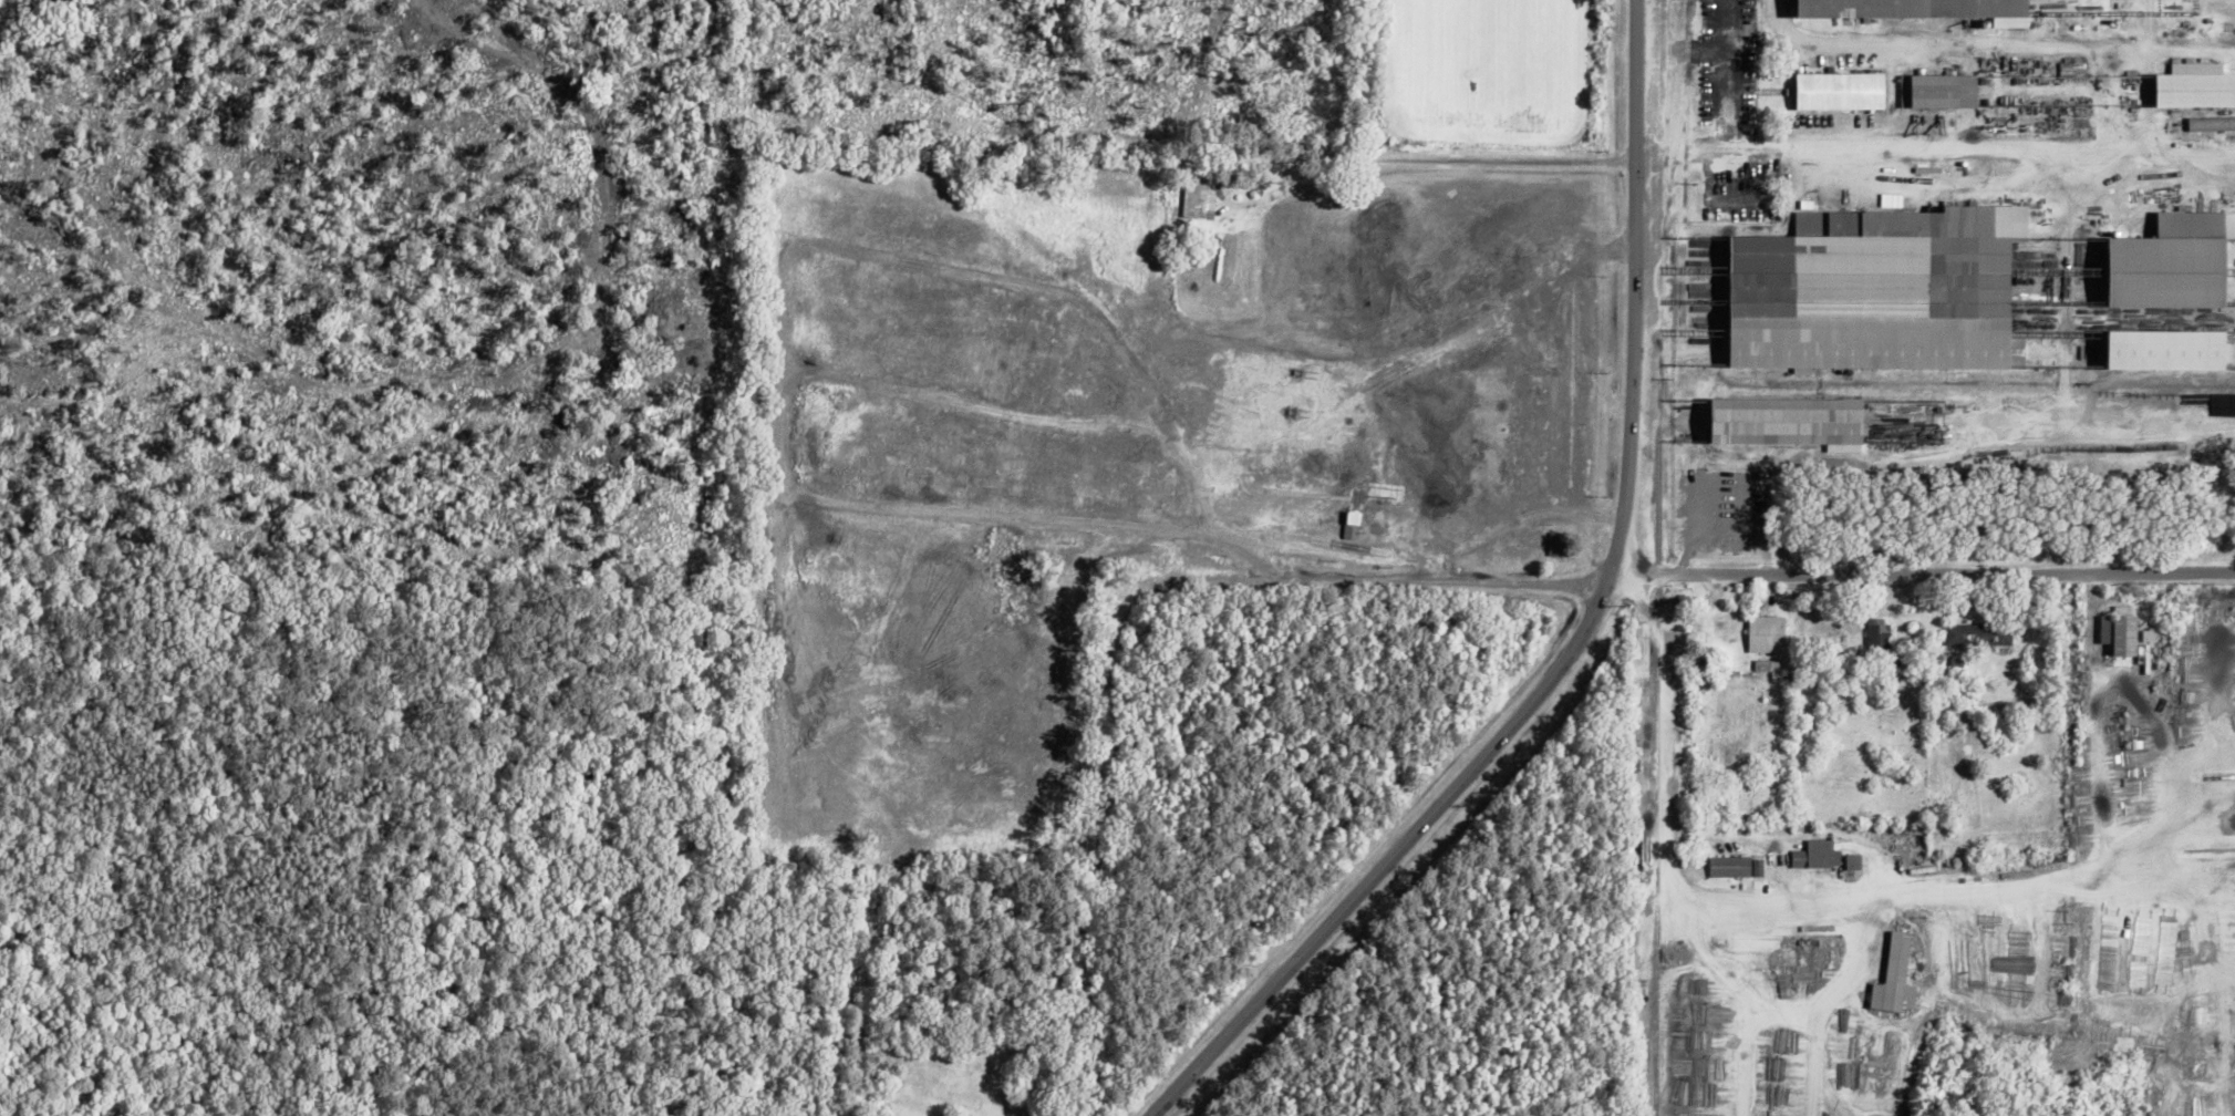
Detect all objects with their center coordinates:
building: (1915, 8)
building: (2198, 86)
building: (1845, 91)
building: (1943, 91)
road: (1908, 149)
road: (1445, 167)
building: (1199, 201)
building: (2180, 263)
building: (1885, 291)
building: (2175, 351)
building: (1796, 422)
building: (1354, 526)
building: (1560, 545)
railway: (1666, 557)
road: (1923, 572)
road: (1587, 634)
building: (1769, 634)
building: (1980, 634)
building: (2123, 634)
road: (1129, 670)
building: (1817, 854)
building: (1856, 861)
building: (1738, 866)
road: (1904, 892)
building: (1898, 976)

